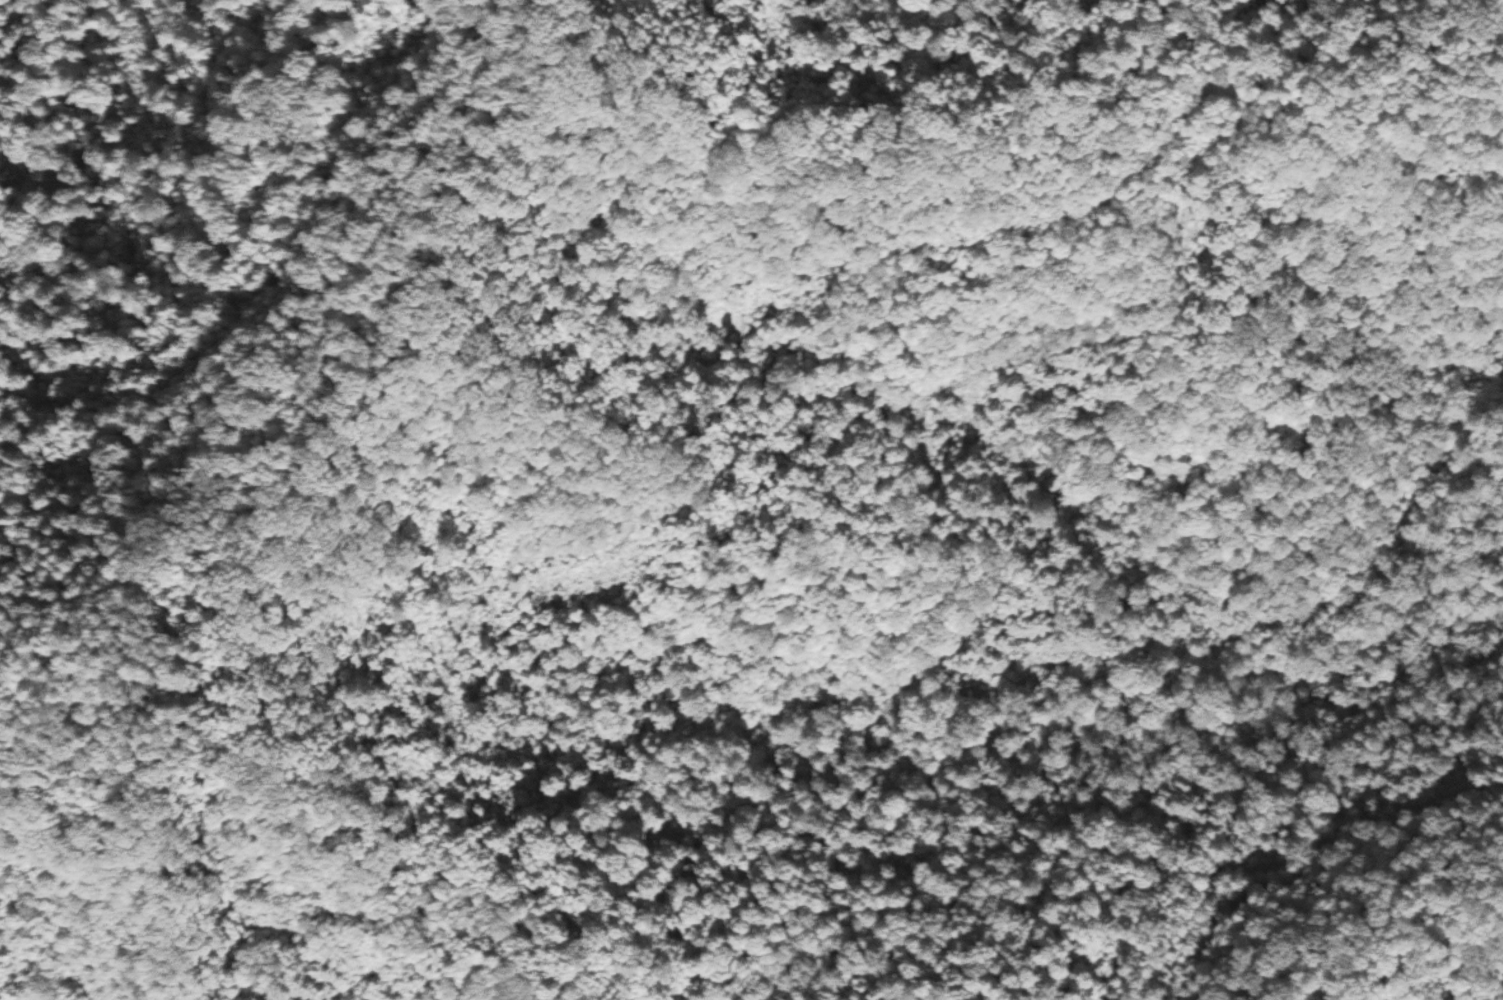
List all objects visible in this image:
road: (1305, 879)

